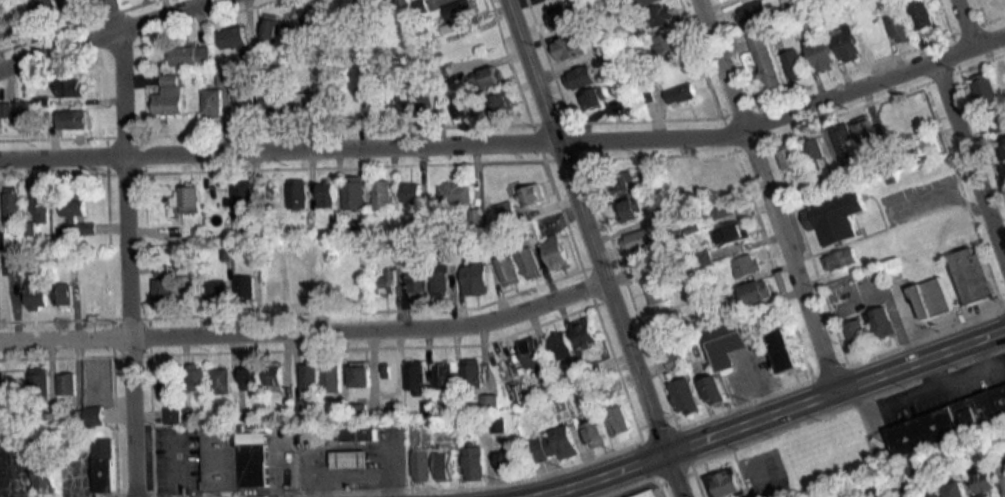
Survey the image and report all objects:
building: (992, 0)
building: (648, 2)
building: (385, 4)
building: (73, 5)
building: (792, 5)
building: (49, 10)
building: (754, 12)
building: (662, 15)
building: (459, 16)
building: (922, 17)
building: (314, 22)
road: (975, 26)
building: (274, 29)
building: (901, 29)
road: (116, 36)
building: (875, 37)
building: (234, 38)
building: (671, 42)
building: (847, 44)
building: (571, 47)
building: (191, 56)
building: (821, 56)
building: (765, 60)
building: (795, 66)
building: (1004, 76)
building: (223, 77)
building: (583, 77)
building: (489, 79)
building: (74, 88)
building: (986, 91)
building: (682, 94)
building: (171, 96)
building: (242, 97)
building: (596, 98)
building: (376, 99)
building: (270, 101)
building: (314, 101)
building: (418, 101)
building: (213, 104)
building: (503, 104)
building: (459, 110)
building: (9, 111)
building: (23, 113)
building: (917, 115)
building: (75, 120)
building: (891, 126)
building: (868, 134)
road: (510, 143)
building: (846, 143)
road: (977, 147)
building: (1003, 147)
building: (927, 148)
building: (817, 154)
building: (791, 159)
building: (850, 178)
building: (625, 180)
building: (681, 181)
building: (655, 184)
building: (412, 193)
building: (457, 193)
building: (299, 194)
building: (327, 194)
building: (356, 194)
building: (536, 194)
building: (383, 195)
road: (779, 196)
building: (245, 197)
building: (216, 198)
building: (191, 199)
building: (13, 202)
building: (42, 205)
building: (728, 205)
building: (633, 210)
building: (509, 212)
building: (838, 216)
building: (477, 217)
building: (78, 219)
building: (253, 224)
building: (363, 229)
building: (734, 234)
building: (678, 235)
building: (641, 240)
road: (603, 248)
building: (558, 252)
building: (705, 259)
building: (841, 259)
building: (531, 262)
building: (14, 264)
road: (136, 265)
building: (749, 265)
building: (652, 267)
building: (510, 269)
building: (974, 275)
building: (441, 278)
building: (476, 278)
building: (419, 279)
building: (389, 282)
building: (304, 285)
building: (190, 289)
building: (275, 289)
building: (219, 290)
building: (659, 290)
building: (248, 291)
building: (758, 291)
building: (166, 293)
building: (65, 294)
building: (38, 295)
building: (935, 297)
building: (884, 321)
building: (673, 322)
building: (861, 333)
building: (588, 334)
road: (312, 339)
building: (562, 345)
building: (731, 348)
building: (786, 349)
building: (533, 352)
building: (677, 361)
building: (588, 369)
building: (276, 373)
building: (363, 373)
building: (473, 373)
building: (333, 375)
building: (445, 375)
building: (311, 376)
building: (199, 377)
building: (253, 377)
building: (417, 377)
building: (223, 381)
building: (39, 383)
building: (68, 383)
building: (171, 383)
building: (554, 384)
building: (98, 389)
building: (716, 389)
building: (687, 396)
building: (491, 402)
building: (452, 407)
building: (359, 412)
building: (174, 415)
road: (777, 419)
building: (620, 420)
building: (947, 422)
building: (360, 431)
building: (597, 433)
building: (1002, 435)
building: (555, 445)
building: (352, 457)
building: (234, 459)
building: (509, 462)
building: (475, 463)
building: (105, 465)
building: (424, 465)
building: (448, 465)
building: (917, 466)
building: (1002, 468)
building: (48, 473)
building: (986, 480)
building: (726, 482)
building: (959, 489)
building: (936, 492)
building: (648, 494)
building: (905, 496)

